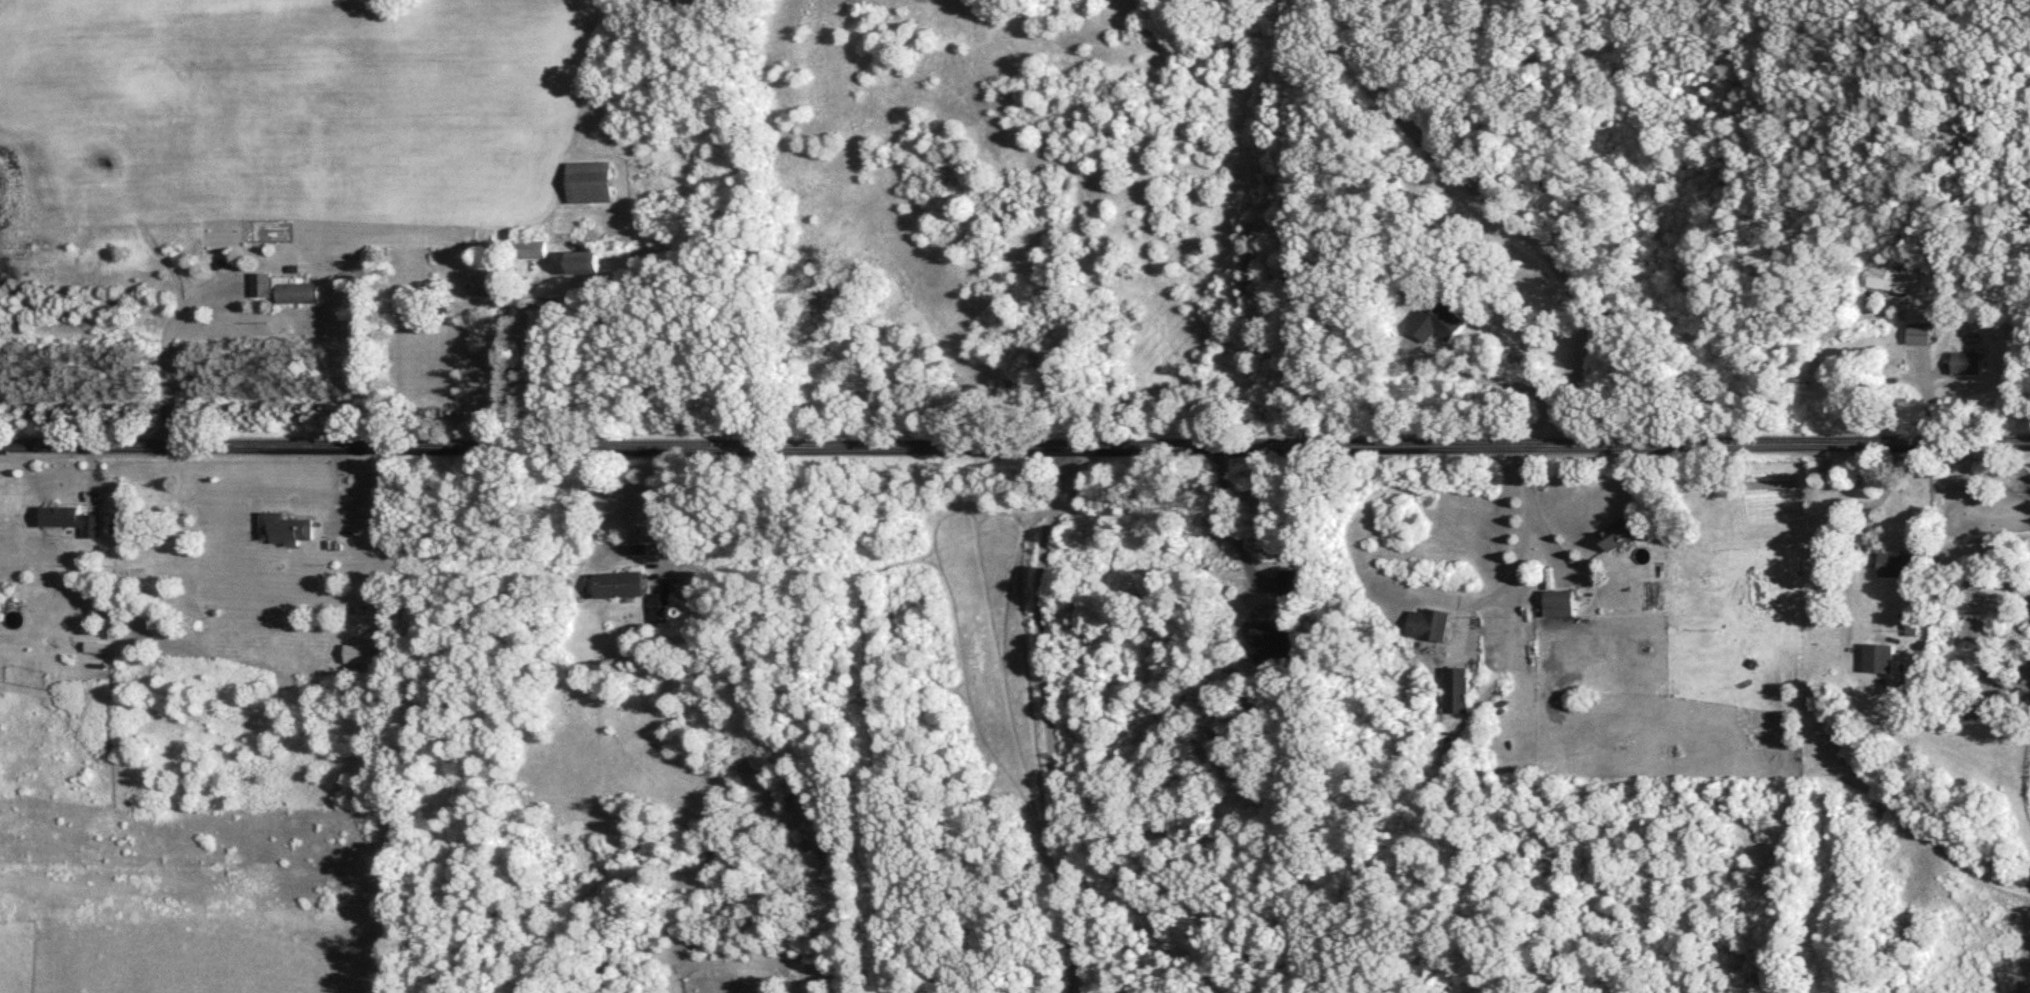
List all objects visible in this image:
building: (591, 187)
road: (1495, 216)
building: (529, 253)
building: (587, 267)
building: (1887, 284)
building: (486, 290)
building: (286, 294)
building: (1440, 327)
building: (1918, 338)
road: (161, 343)
building: (1966, 367)
road: (519, 380)
road: (1499, 380)
road: (1015, 445)
road: (660, 507)
road: (1222, 520)
building: (72, 525)
building: (284, 534)
building: (1621, 538)
road: (1515, 555)
building: (1898, 570)
building: (620, 589)
building: (1560, 608)
building: (662, 612)
building: (1429, 629)
building: (1274, 648)
building: (1879, 663)
building: (1457, 695)
road: (1041, 717)

